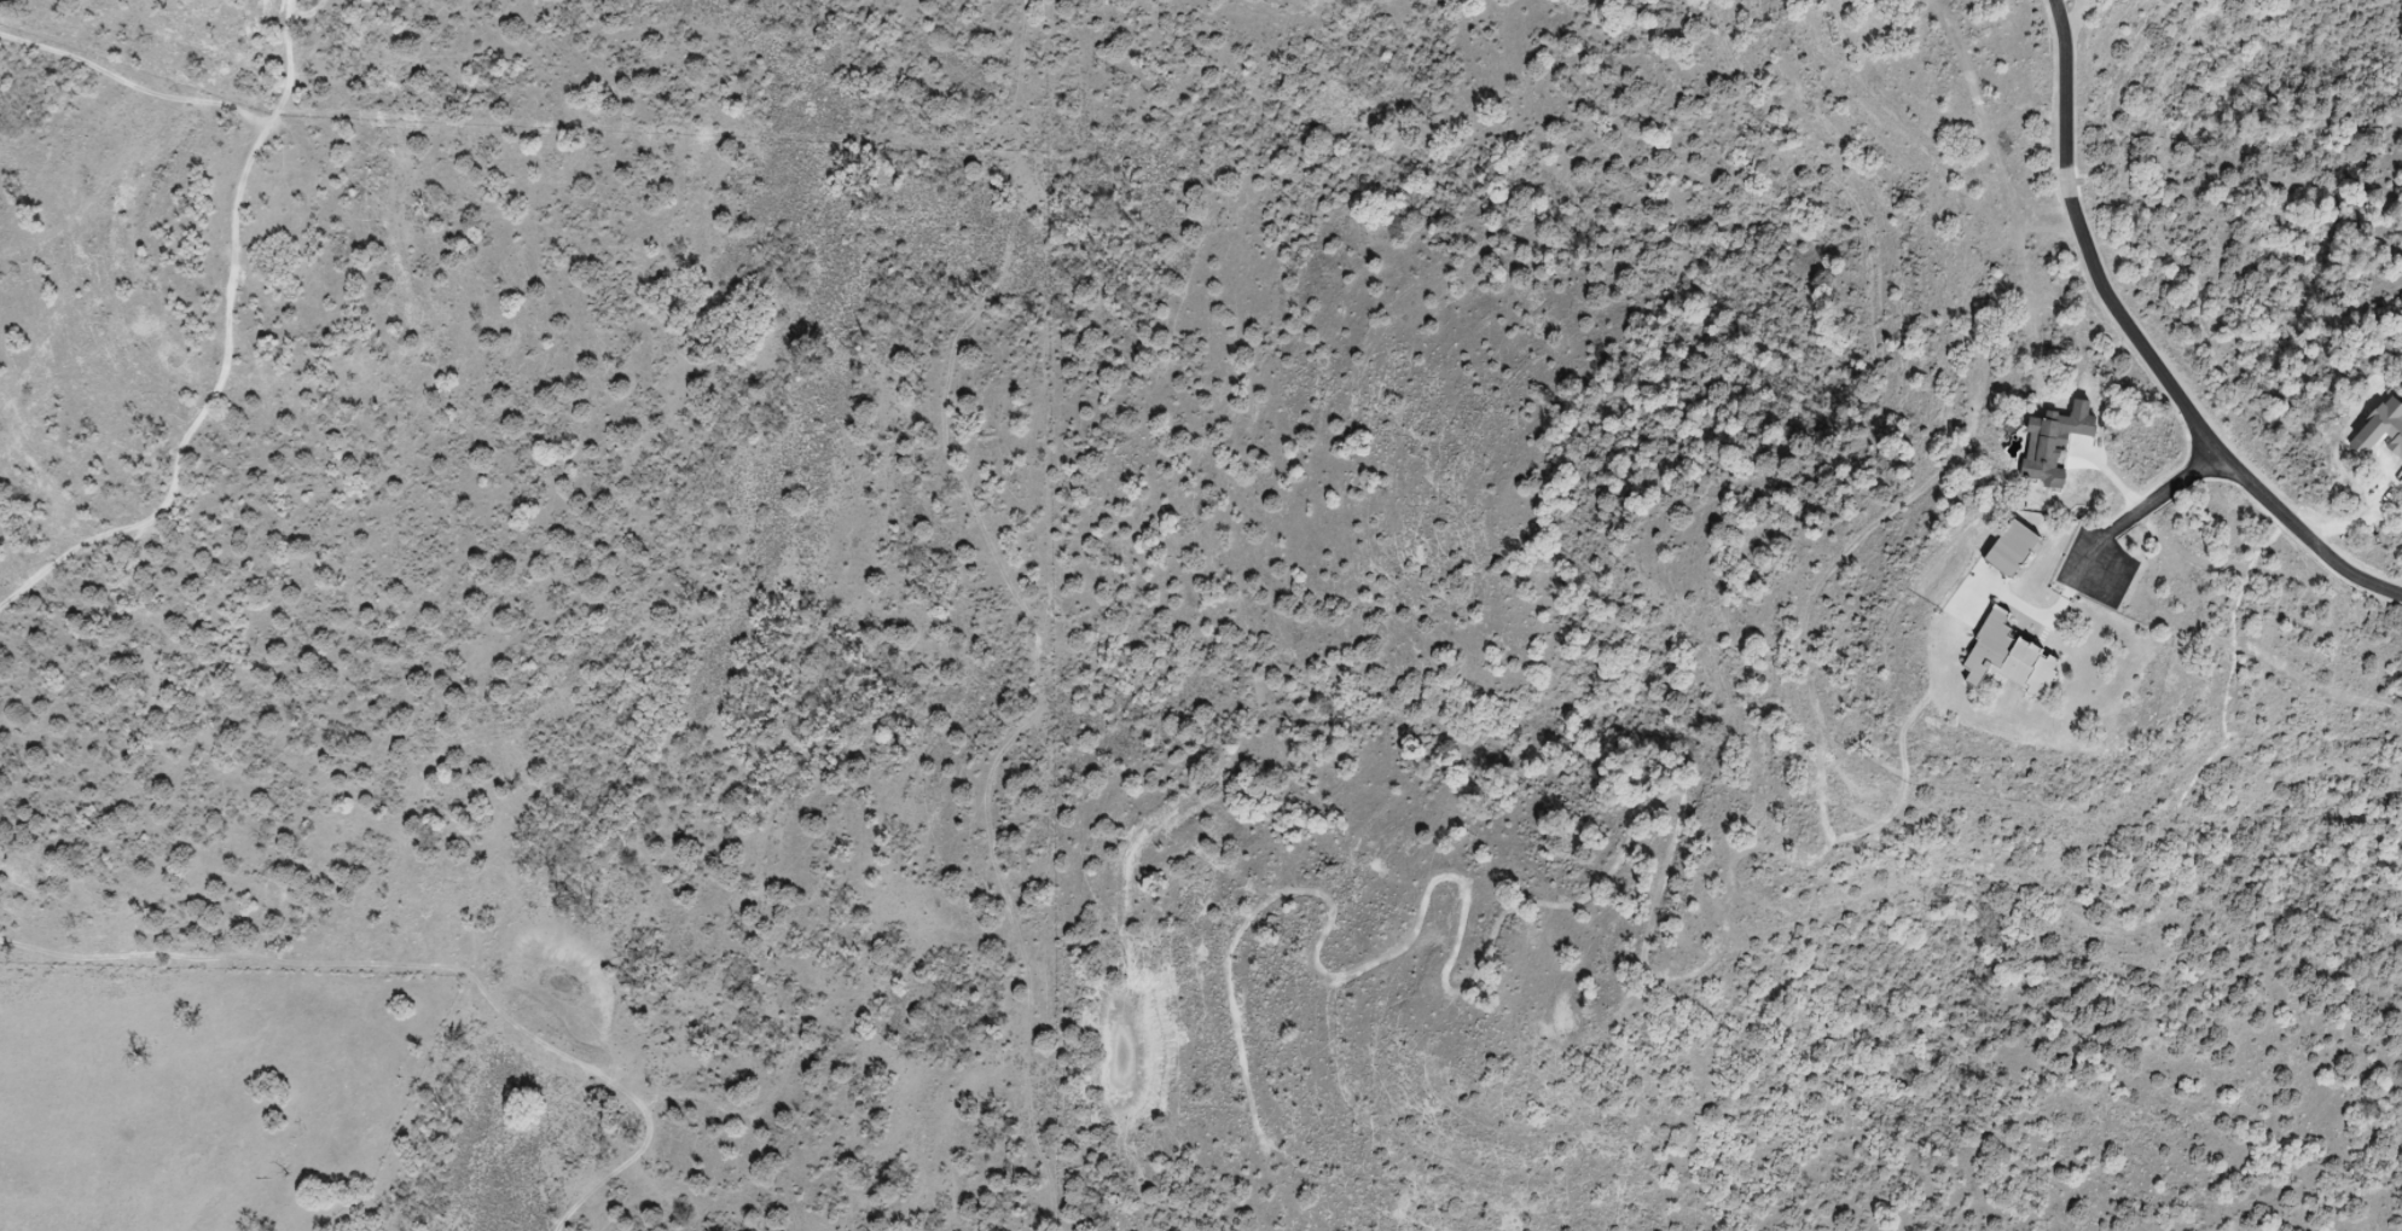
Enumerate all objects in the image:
road: (2151, 341)
road: (2156, 503)

